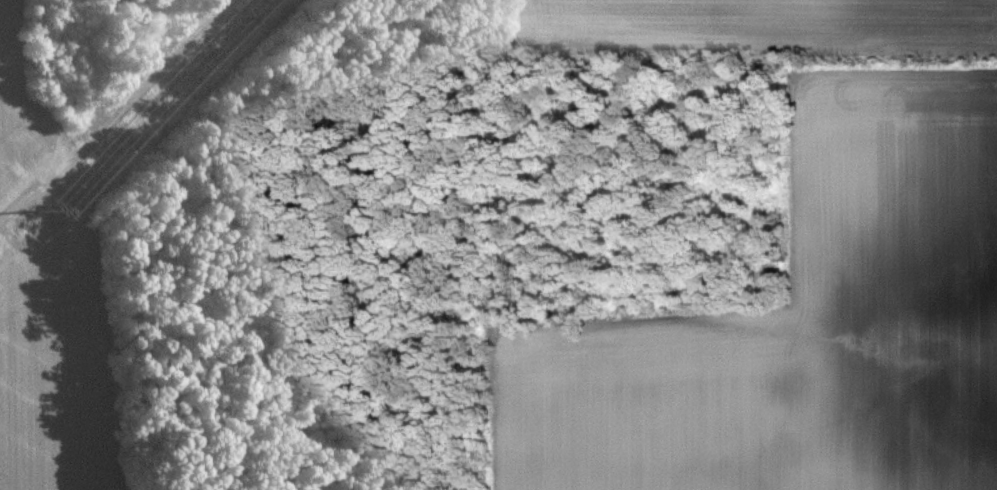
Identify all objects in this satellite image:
power tower: (24, 226)

